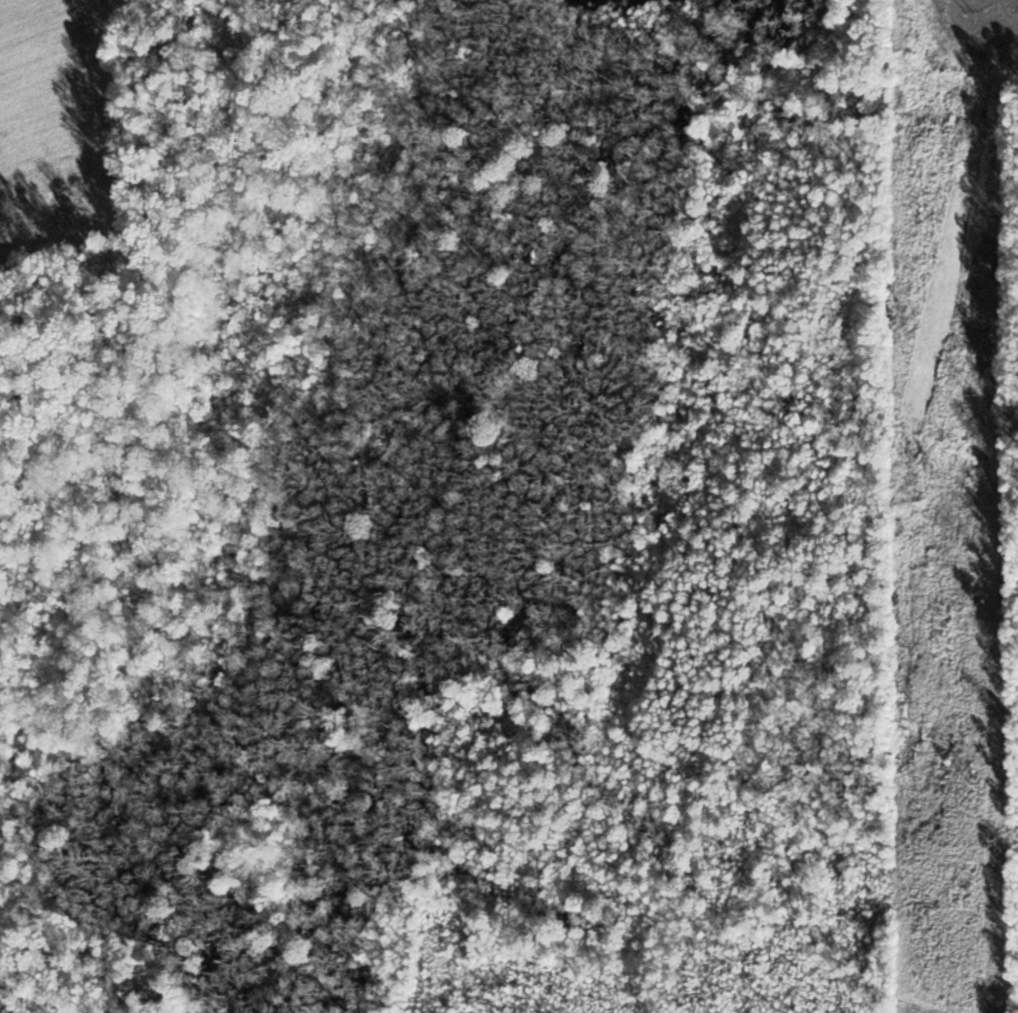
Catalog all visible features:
power tower: (974, 13)
power tower: (978, 396)
power tower: (978, 782)

